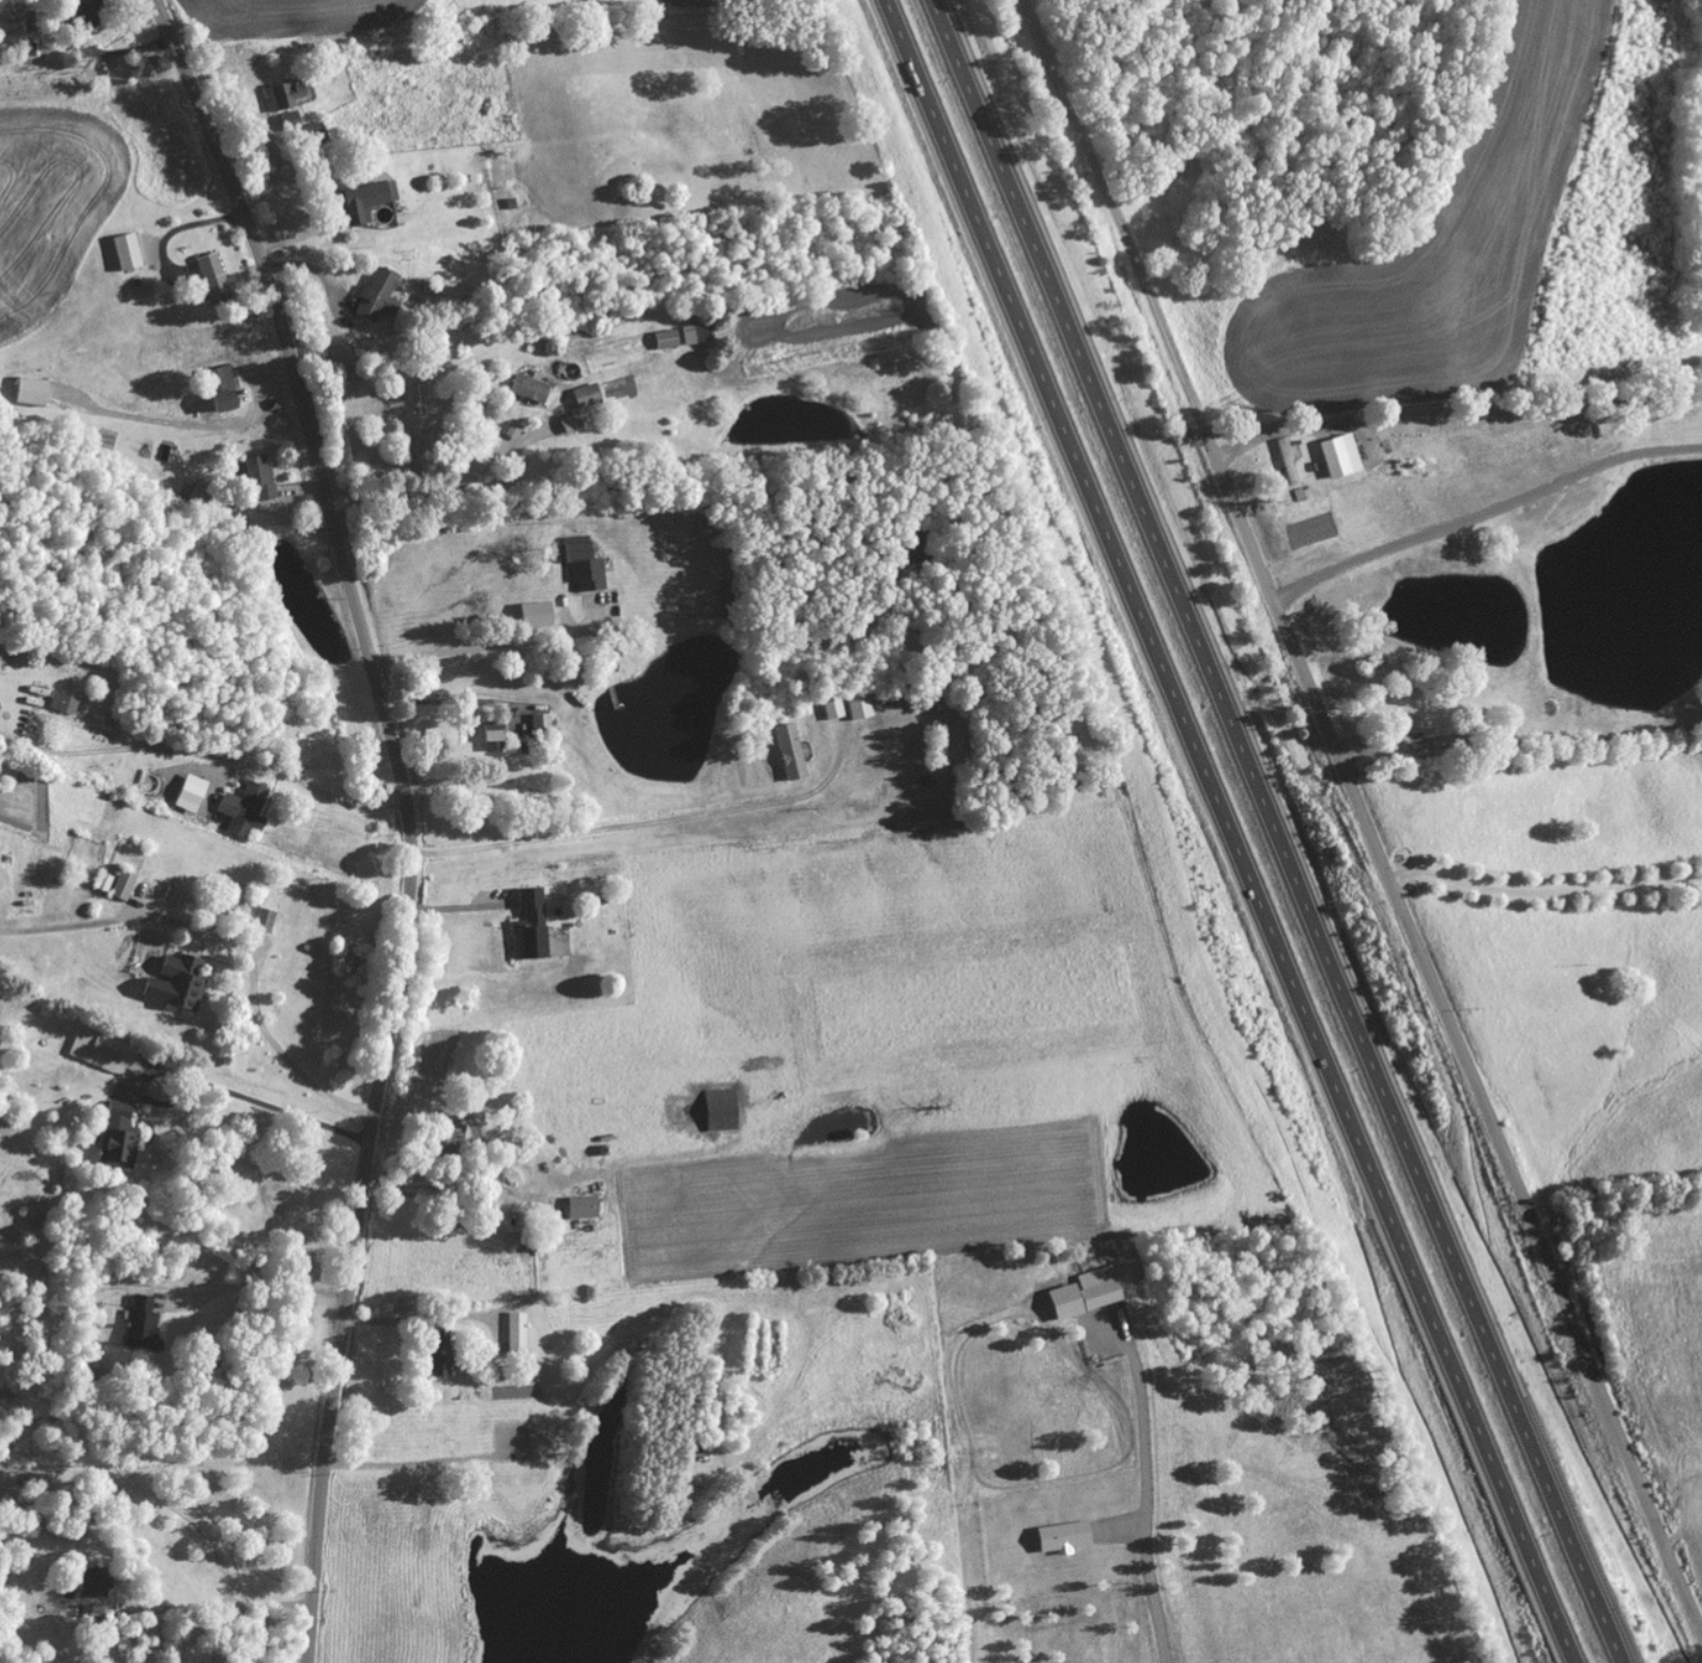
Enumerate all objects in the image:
building: (85, 14)
building: (281, 96)
building: (363, 201)
building: (123, 251)
building: (213, 280)
building: (375, 295)
building: (693, 335)
building: (663, 340)
building: (527, 388)
building: (219, 390)
building: (29, 392)
building: (584, 397)
building: (568, 424)
building: (1339, 456)
building: (257, 480)
building: (582, 567)
building: (536, 616)
building: (61, 704)
building: (857, 705)
building: (831, 710)
building: (540, 726)
building: (789, 752)
building: (187, 794)
building: (243, 811)
road: (406, 815)
road: (1273, 823)
road: (1224, 827)
building: (101, 883)
building: (121, 886)
building: (263, 921)
building: (529, 926)
building: (174, 985)
road: (1453, 1037)
building: (102, 1053)
building: (718, 1111)
building: (448, 1132)
building: (115, 1138)
building: (581, 1209)
building: (1096, 1287)
building: (137, 1323)
building: (519, 1335)
building: (437, 1349)
building: (1060, 1538)
building: (91, 1583)
road: (1618, 1654)
road: (1567, 1657)

